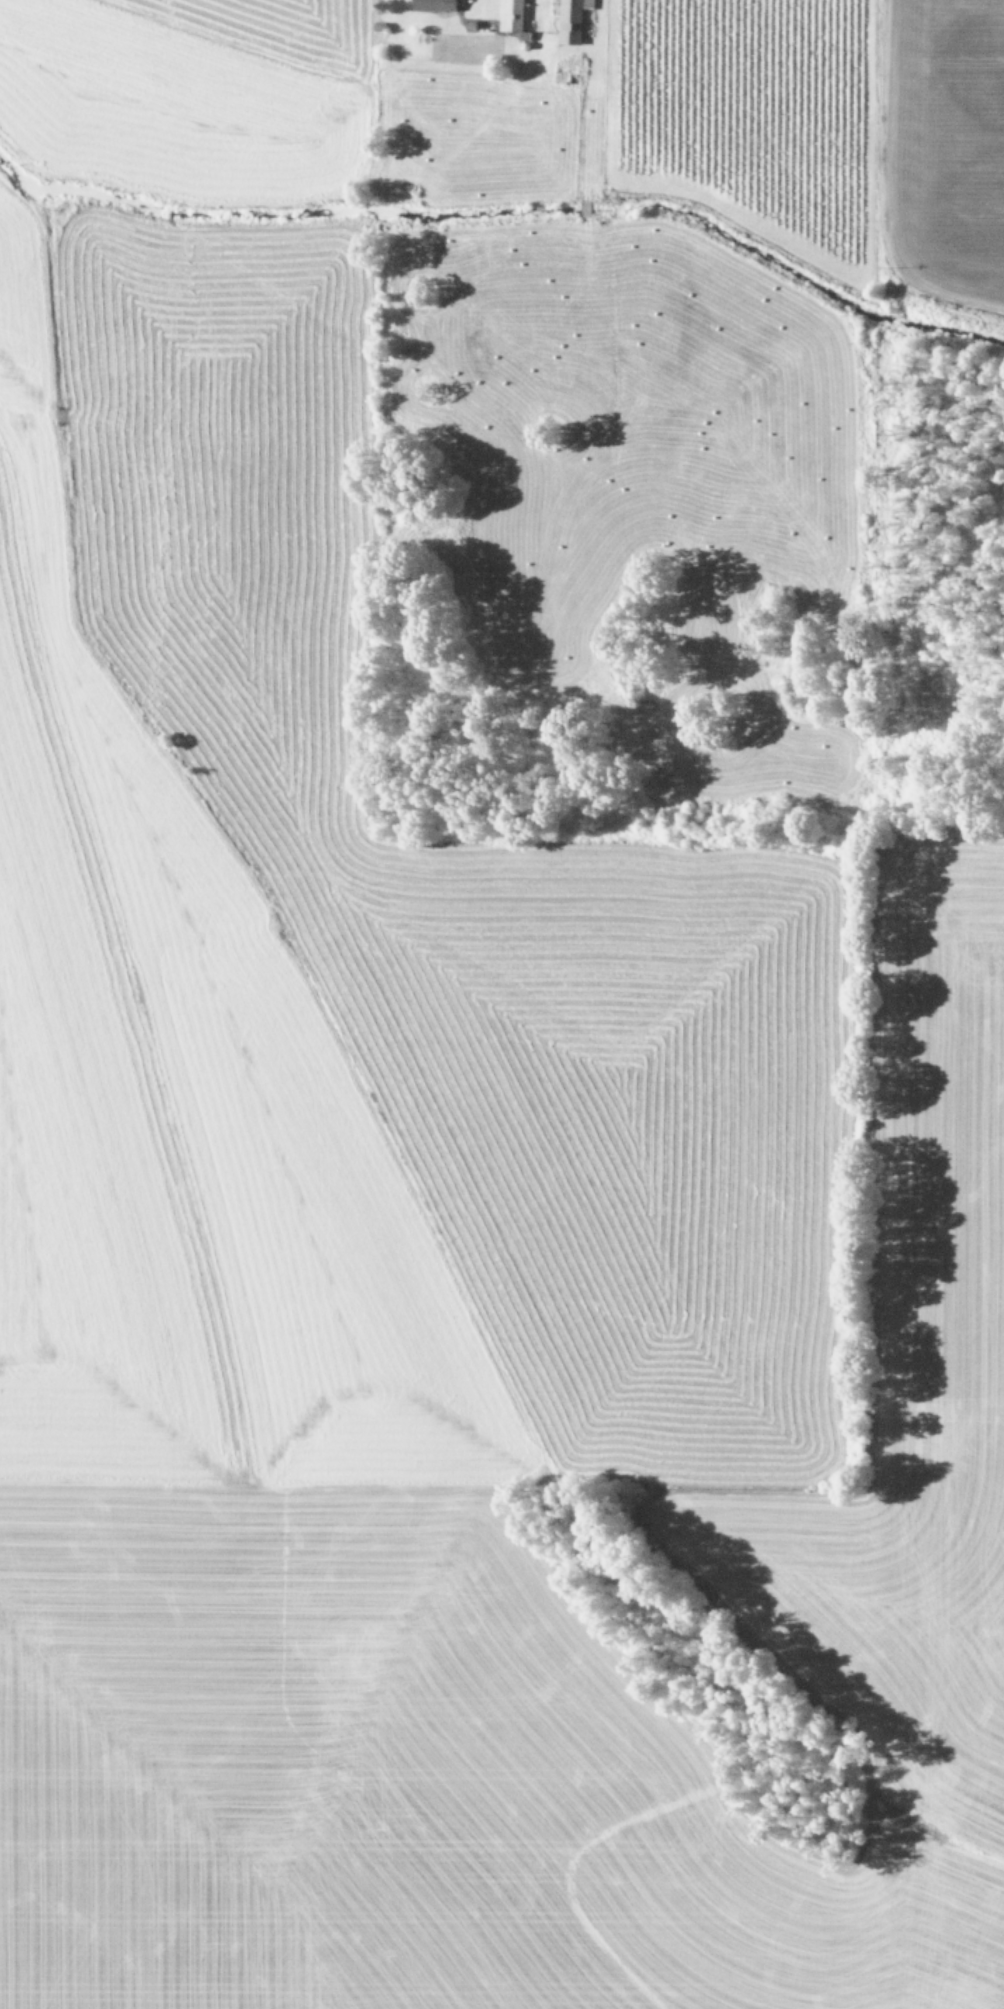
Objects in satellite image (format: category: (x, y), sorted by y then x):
road: (373, 10)
building: (510, 15)
building: (570, 20)
crop: (502, 1004)

